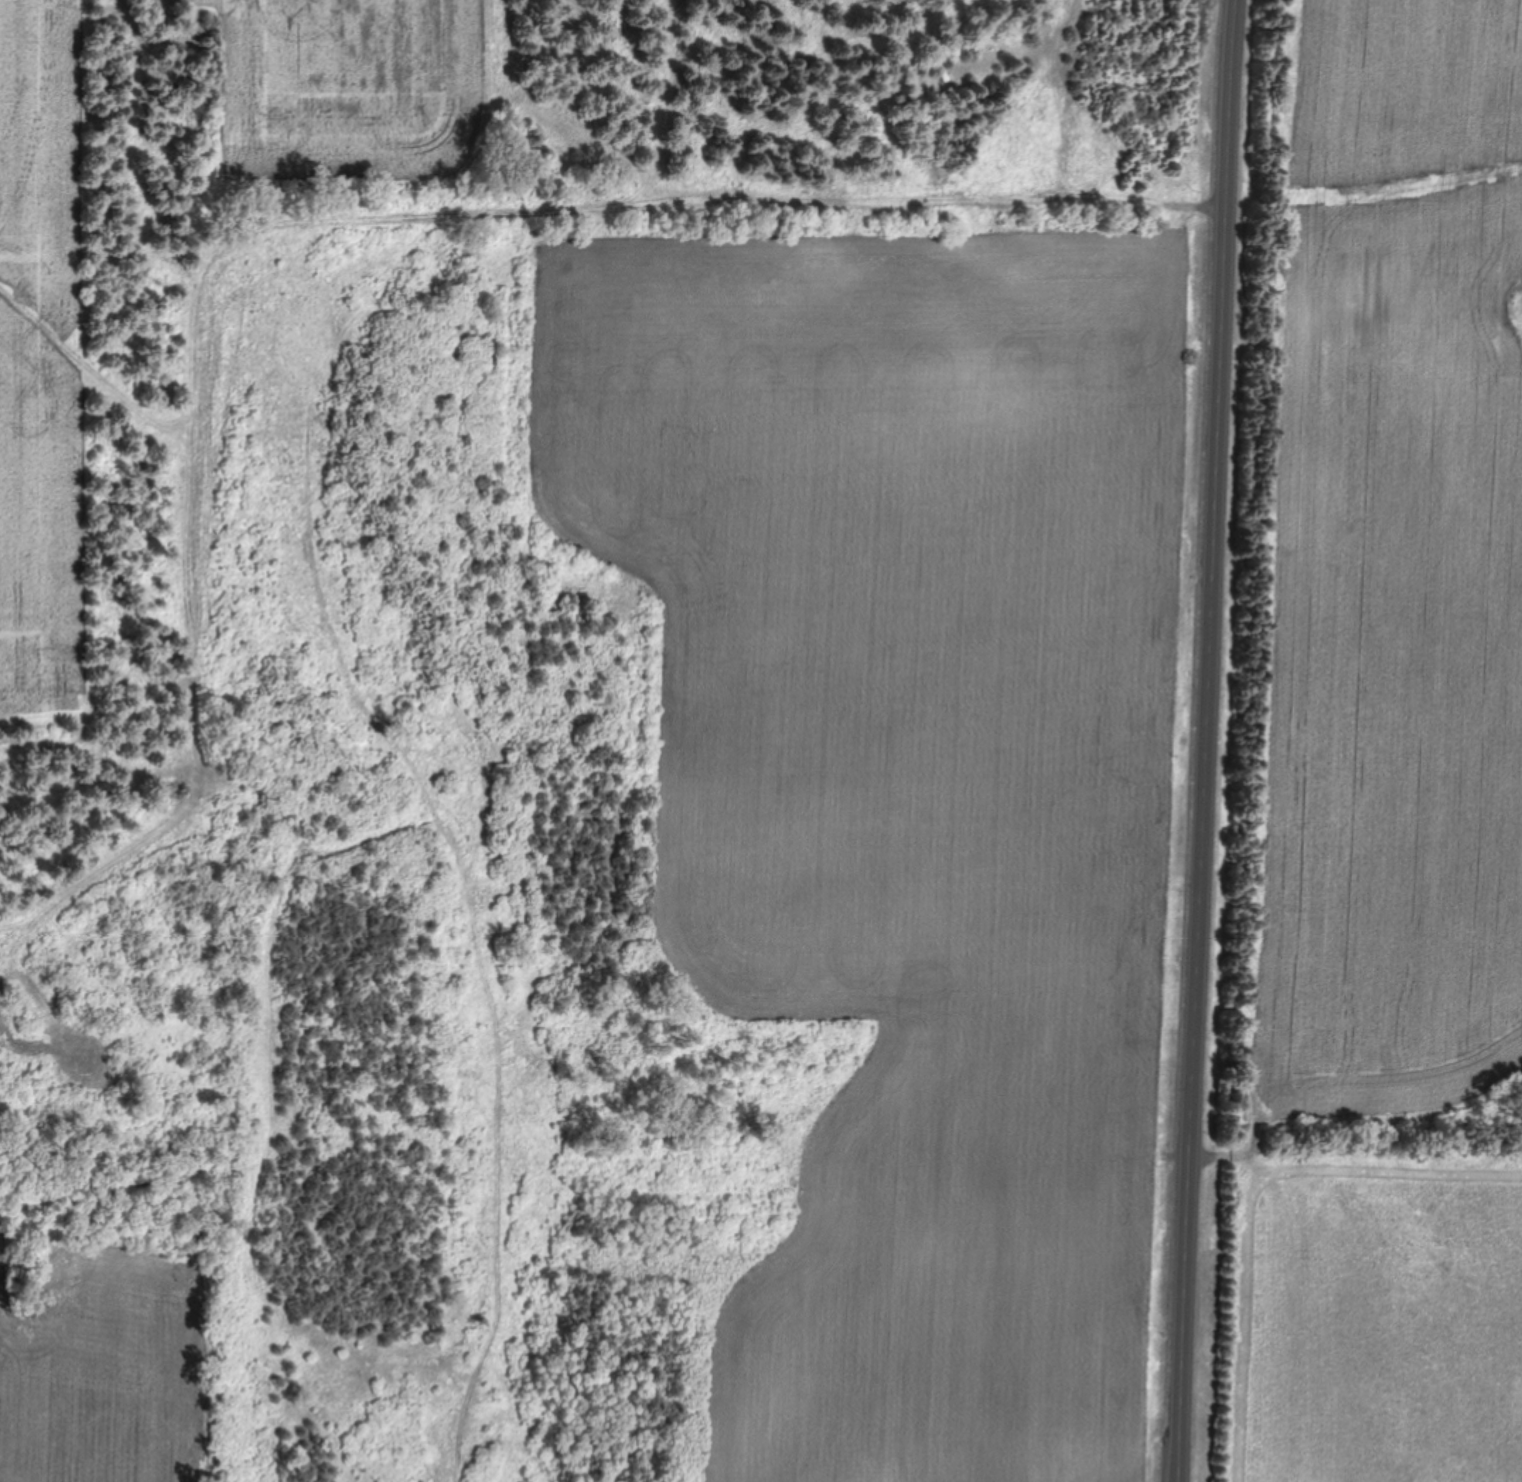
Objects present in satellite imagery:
road: (1209, 740)
park: (1367, 758)

